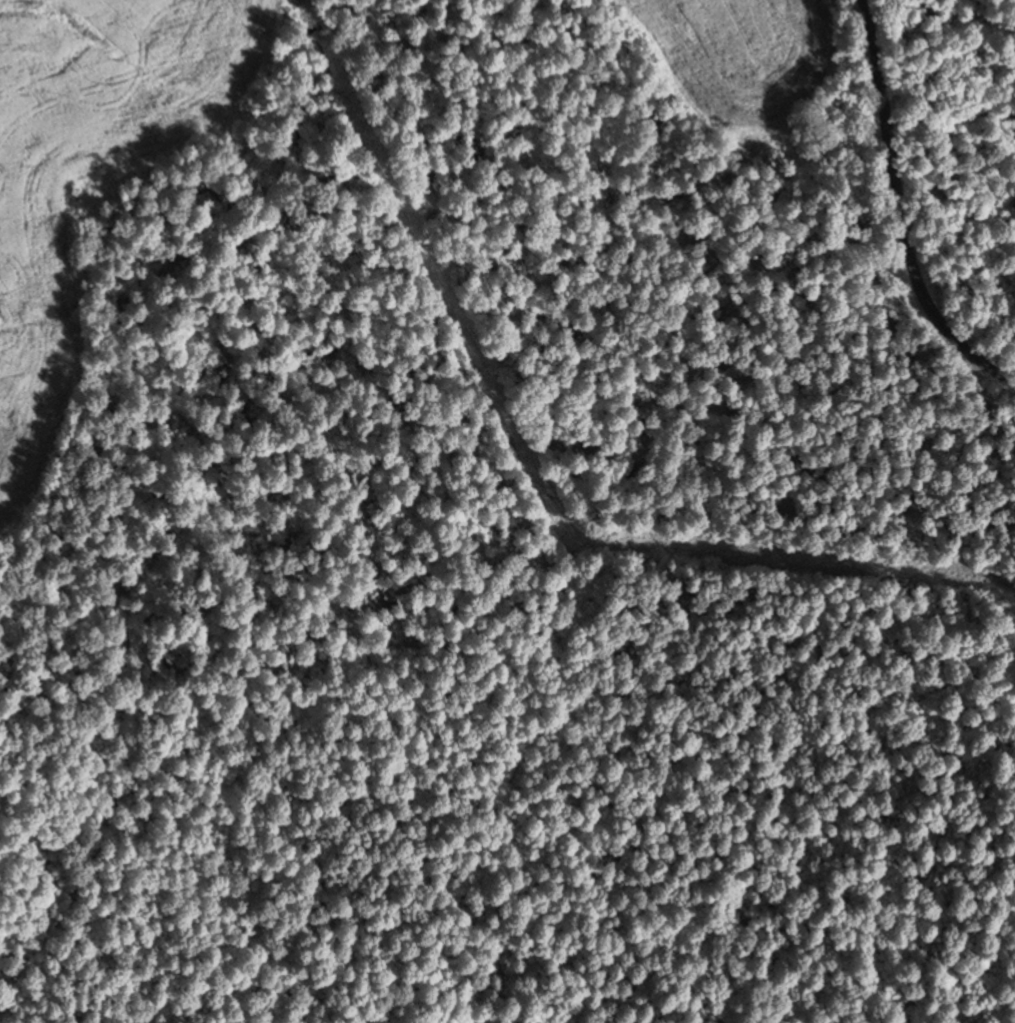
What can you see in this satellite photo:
road: (898, 213)

